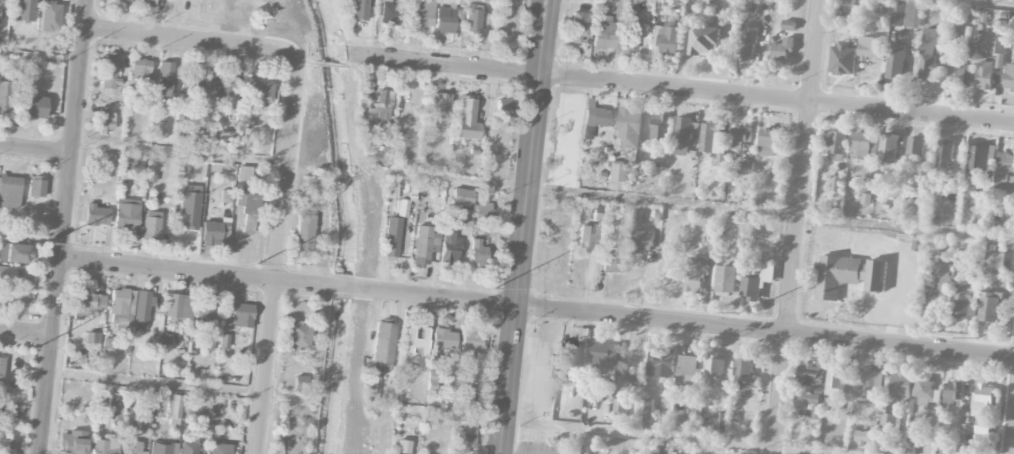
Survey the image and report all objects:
building: (127, 0)
building: (148, 2)
road: (988, 2)
building: (360, 9)
building: (0, 10)
building: (23, 10)
building: (391, 11)
building: (422, 13)
building: (905, 13)
building: (50, 16)
building: (445, 19)
building: (473, 20)
building: (578, 27)
building: (970, 33)
building: (605, 34)
building: (629, 34)
building: (998, 37)
road: (190, 39)
building: (704, 41)
building: (663, 43)
building: (748, 45)
building: (870, 47)
building: (782, 49)
building: (930, 54)
road: (39, 55)
building: (842, 59)
building: (895, 61)
building: (959, 66)
building: (140, 70)
building: (110, 71)
building: (984, 75)
building: (1009, 77)
building: (166, 81)
building: (227, 82)
building: (194, 90)
building: (259, 91)
road: (683, 91)
building: (5, 95)
building: (34, 106)
building: (381, 106)
building: (440, 109)
building: (503, 109)
building: (466, 111)
building: (597, 116)
building: (107, 121)
building: (659, 127)
building: (159, 128)
building: (387, 128)
building: (629, 128)
building: (683, 136)
building: (722, 138)
building: (767, 142)
building: (835, 142)
building: (861, 145)
building: (915, 147)
road: (34, 149)
building: (888, 149)
road: (178, 152)
building: (944, 153)
building: (978, 159)
building: (128, 161)
building: (746, 168)
building: (777, 169)
building: (615, 171)
building: (1004, 172)
building: (244, 173)
building: (835, 183)
building: (35, 186)
building: (9, 191)
building: (226, 195)
building: (462, 197)
building: (759, 201)
building: (188, 205)
building: (403, 207)
road: (691, 207)
building: (250, 210)
building: (126, 213)
building: (96, 215)
building: (466, 216)
building: (638, 216)
building: (151, 225)
road: (60, 226)
road: (798, 226)
road: (528, 227)
building: (304, 231)
building: (215, 233)
building: (392, 236)
building: (587, 236)
building: (714, 237)
building: (642, 241)
power tower: (48, 243)
building: (424, 245)
building: (449, 248)
building: (478, 251)
building: (13, 252)
road: (277, 257)
building: (613, 260)
building: (995, 262)
power tower: (259, 264)
road: (190, 272)
building: (7, 275)
building: (696, 275)
building: (848, 275)
building: (726, 280)
building: (944, 281)
building: (757, 283)
road: (345, 290)
power tower: (495, 290)
building: (15, 296)
building: (966, 302)
building: (88, 303)
building: (178, 305)
building: (121, 306)
building: (989, 307)
building: (142, 308)
building: (204, 311)
power tower: (743, 314)
building: (241, 315)
road: (689, 326)
road: (24, 332)
building: (297, 336)
building: (93, 337)
building: (443, 339)
power tower: (976, 339)
building: (224, 340)
building: (416, 341)
building: (383, 343)
building: (108, 344)
building: (469, 344)
power tower: (37, 346)
building: (576, 349)
building: (598, 355)
building: (664, 363)
building: (714, 368)
building: (1, 369)
building: (688, 371)
building: (745, 374)
building: (809, 375)
building: (630, 378)
building: (433, 379)
building: (835, 380)
building: (868, 385)
road: (177, 386)
building: (901, 386)
building: (925, 391)
building: (953, 391)
building: (463, 395)
building: (804, 400)
building: (982, 400)
building: (115, 406)
building: (0, 407)
building: (174, 408)
building: (619, 410)
building: (647, 410)
building: (688, 420)
road: (19, 423)
building: (889, 423)
building: (983, 426)
road: (589, 427)
building: (862, 437)
building: (463, 439)
building: (73, 442)
building: (188, 444)
building: (106, 445)
road: (1013, 445)
building: (6, 446)
building: (403, 446)
building: (131, 448)
building: (162, 448)
building: (219, 448)
building: (659, 450)

